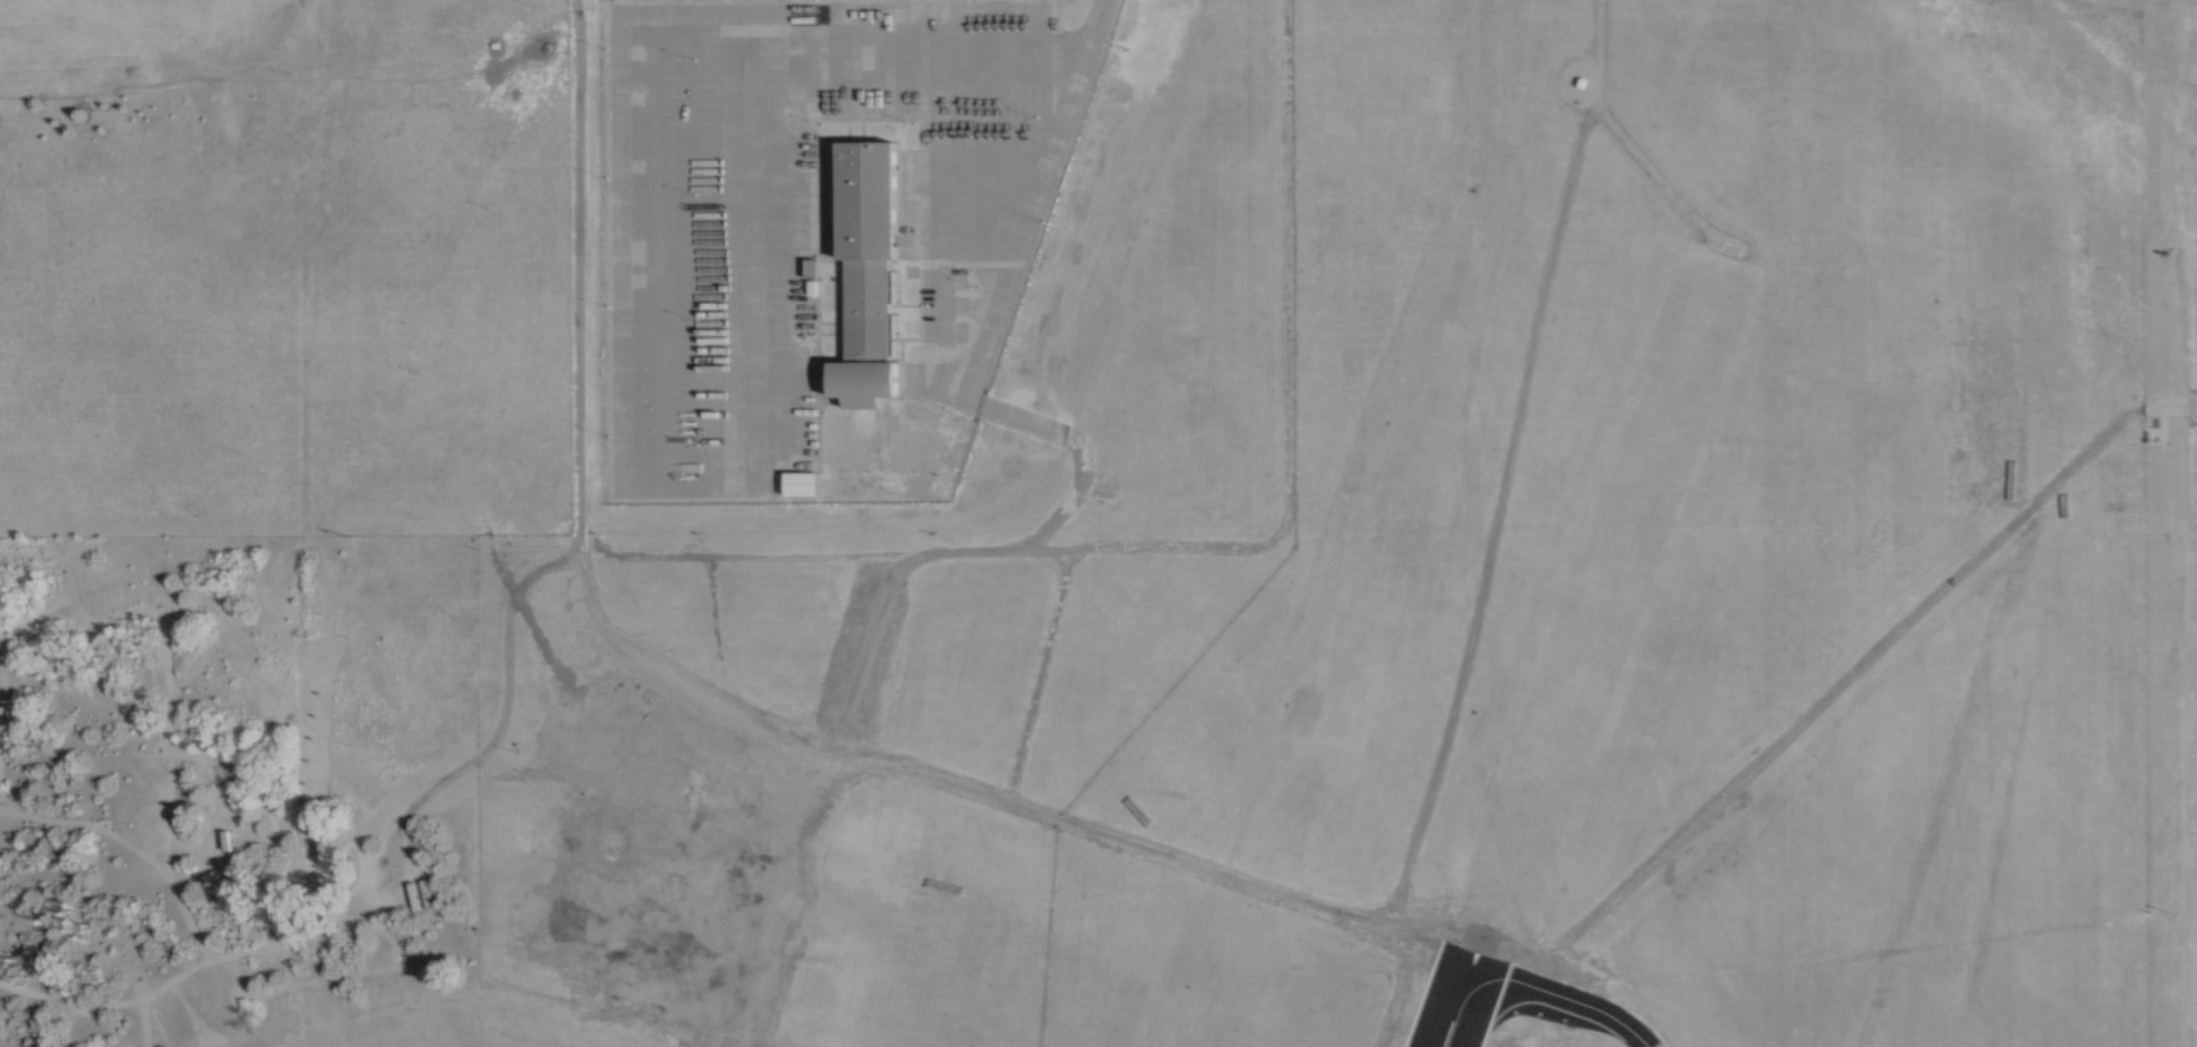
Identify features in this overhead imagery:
building: (868, 274)
road: (1503, 461)
building: (800, 483)
airport: (1098, 523)
road: (1001, 552)
road: (1863, 657)
building: (1468, 710)
building: (634, 783)
road: (1006, 802)
building: (222, 840)
road: (1500, 934)
airport taxiway: (1559, 997)
airport runway: (1455, 999)
building: (1466, 1022)

